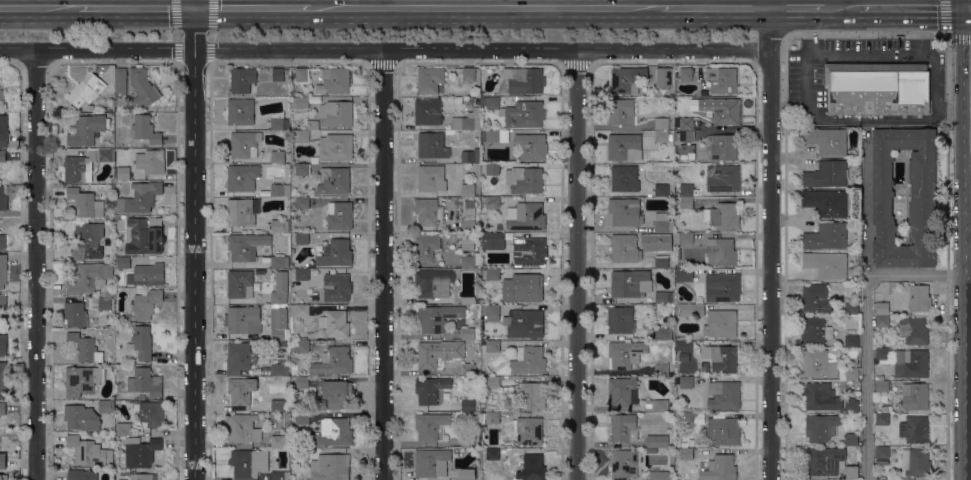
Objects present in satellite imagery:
road: (194, 3)
road: (829, 3)
road: (39, 6)
road: (136, 6)
traffic signals: (194, 7)
road: (252, 7)
road: (485, 7)
road: (714, 7)
road: (799, 7)
road: (843, 7)
road: (914, 8)
road: (178, 16)
road: (210, 17)
road: (917, 31)
road: (946, 31)
road: (808, 33)
road: (178, 47)
road: (209, 48)
road: (384, 48)
road: (872, 55)
building: (286, 71)
building: (278, 74)
building: (301, 74)
building: (468, 74)
building: (661, 74)
building: (686, 74)
building: (242, 79)
building: (627, 79)
building: (721, 79)
building: (335, 80)
building: (429, 80)
building: (524, 80)
building: (120, 82)
building: (141, 86)
building: (878, 88)
building: (86, 89)
building: (2, 93)
building: (495, 93)
building: (299, 102)
building: (240, 111)
building: (427, 111)
building: (516, 111)
building: (621, 111)
building: (727, 112)
building: (335, 113)
road: (869, 119)
building: (278, 120)
building: (467, 121)
building: (661, 123)
building: (686, 123)
building: (87, 129)
building: (146, 129)
building: (3, 130)
building: (304, 132)
building: (493, 135)
building: (684, 135)
building: (662, 136)
building: (827, 140)
building: (244, 144)
building: (432, 145)
building: (531, 146)
building: (335, 147)
building: (622, 147)
building: (723, 147)
building: (2, 155)
building: (470, 155)
building: (121, 156)
building: (277, 157)
building: (150, 162)
building: (84, 164)
building: (302, 169)
building: (492, 169)
building: (122, 172)
building: (826, 174)
building: (242, 177)
building: (431, 178)
building: (624, 178)
building: (724, 178)
building: (334, 180)
building: (524, 180)
building: (305, 185)
building: (280, 190)
building: (467, 190)
building: (661, 190)
building: (686, 193)
building: (143, 196)
building: (3, 198)
building: (923, 200)
building: (302, 202)
building: (492, 202)
building: (826, 202)
building: (86, 203)
building: (684, 205)
road: (866, 209)
building: (243, 211)
building: (427, 211)
building: (624, 212)
building: (339, 215)
building: (525, 216)
building: (723, 216)
building: (468, 217)
building: (118, 218)
building: (663, 223)
building: (279, 225)
building: (145, 236)
building: (826, 236)
building: (302, 238)
building: (683, 238)
road: (769, 239)
building: (492, 240)
building: (3, 241)
building: (88, 241)
road: (193, 243)
building: (246, 245)
building: (426, 247)
building: (625, 248)
building: (720, 251)
building: (530, 252)
building: (335, 253)
building: (660, 258)
building: (279, 261)
building: (469, 261)
building: (123, 262)
road: (36, 263)
road: (383, 264)
road: (574, 264)
building: (827, 264)
building: (3, 270)
building: (302, 274)
building: (491, 274)
building: (147, 275)
building: (684, 275)
building: (89, 277)
building: (239, 283)
building: (433, 283)
building: (630, 283)
building: (336, 287)
building: (722, 287)
building: (280, 288)
building: (523, 288)
building: (664, 298)
building: (816, 298)
building: (919, 298)
building: (3, 300)
building: (468, 300)
building: (105, 304)
building: (145, 305)
building: (851, 308)
building: (882, 308)
building: (299, 310)
building: (689, 310)
building: (490, 312)
building: (74, 313)
building: (437, 317)
building: (243, 319)
building: (621, 319)
building: (882, 320)
building: (279, 323)
building: (334, 323)
building: (524, 323)
building: (720, 323)
road: (867, 325)
building: (815, 331)
building: (916, 331)
building: (467, 333)
building: (663, 333)
building: (851, 341)
building: (142, 342)
building: (279, 344)
building: (3, 345)
building: (303, 346)
building: (492, 346)
building: (685, 346)
building: (85, 348)
building: (625, 353)
building: (882, 353)
building: (429, 356)
building: (239, 357)
building: (721, 358)
building: (335, 360)
building: (528, 360)
building: (819, 363)
building: (915, 363)
building: (280, 369)
building: (467, 369)
building: (661, 369)
building: (851, 374)
building: (3, 379)
building: (82, 380)
building: (146, 382)
building: (302, 382)
building: (685, 382)
building: (120, 384)
building: (492, 385)
building: (882, 386)
building: (430, 389)
building: (241, 391)
building: (623, 392)
building: (338, 394)
building: (724, 395)
building: (531, 396)
building: (915, 396)
building: (821, 397)
building: (277, 405)
building: (467, 405)
building: (656, 405)
building: (106, 406)
building: (851, 406)
building: (2, 408)
building: (886, 408)
building: (152, 413)
building: (81, 417)
building: (302, 418)
building: (492, 418)
building: (684, 418)
building: (882, 419)
building: (430, 425)
building: (821, 427)
building: (242, 428)
building: (623, 428)
building: (123, 429)
building: (914, 429)
building: (527, 430)
building: (723, 431)
building: (333, 432)
building: (851, 439)
building: (280, 441)
building: (468, 441)
building: (657, 441)
building: (651, 450)
building: (89, 451)
building: (141, 451)
building: (683, 452)
building: (882, 452)
building: (299, 454)
building: (492, 454)
building: (824, 460)
building: (3, 461)
building: (916, 462)
building: (248, 463)
building: (432, 463)
building: (623, 464)
building: (329, 467)
building: (530, 467)
building: (719, 468)
building: (851, 472)
building: (466, 474)
building: (82, 475)
building: (280, 475)
building: (660, 475)
building: (143, 476)
building: (3, 477)
building: (882, 479)

